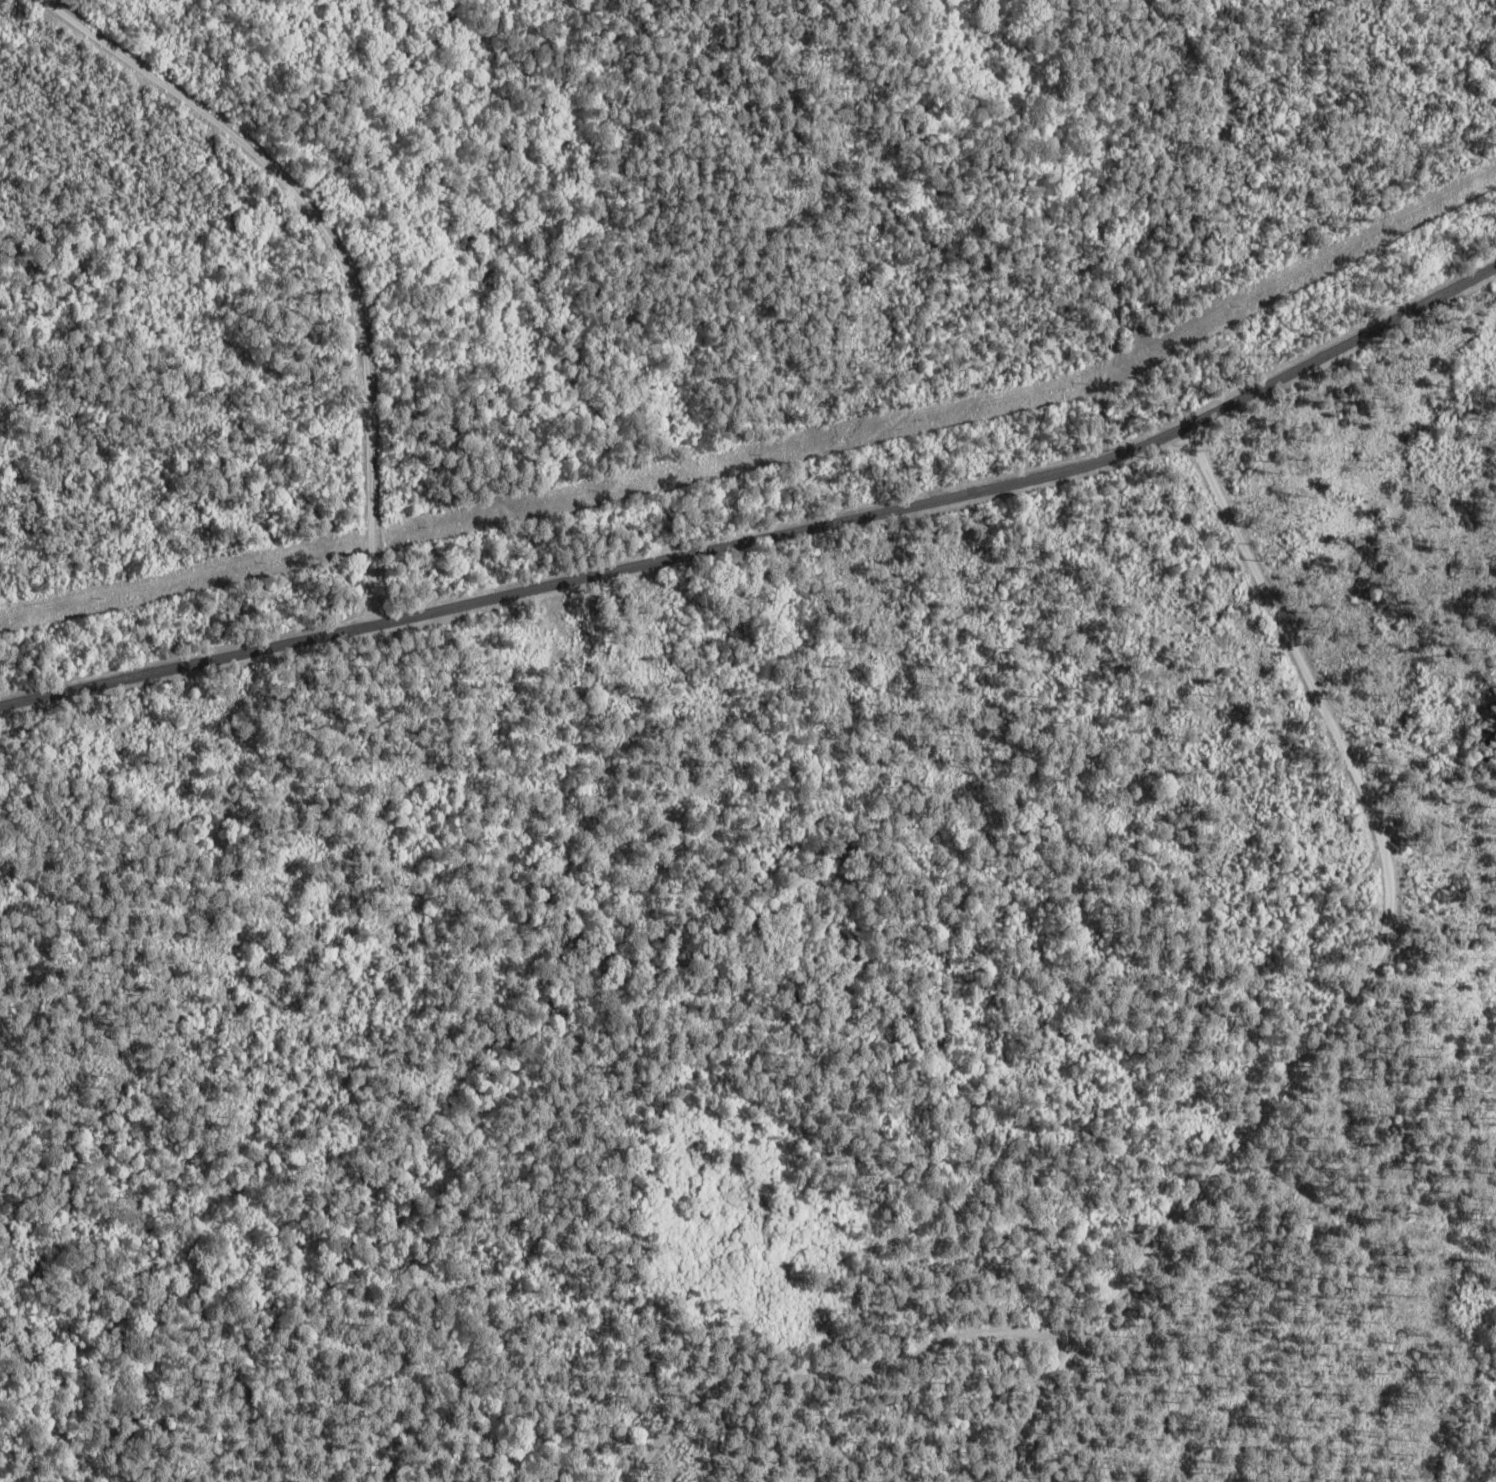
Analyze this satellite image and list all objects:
road: (333, 247)
road: (765, 530)
road: (1356, 972)
road: (827, 1345)

